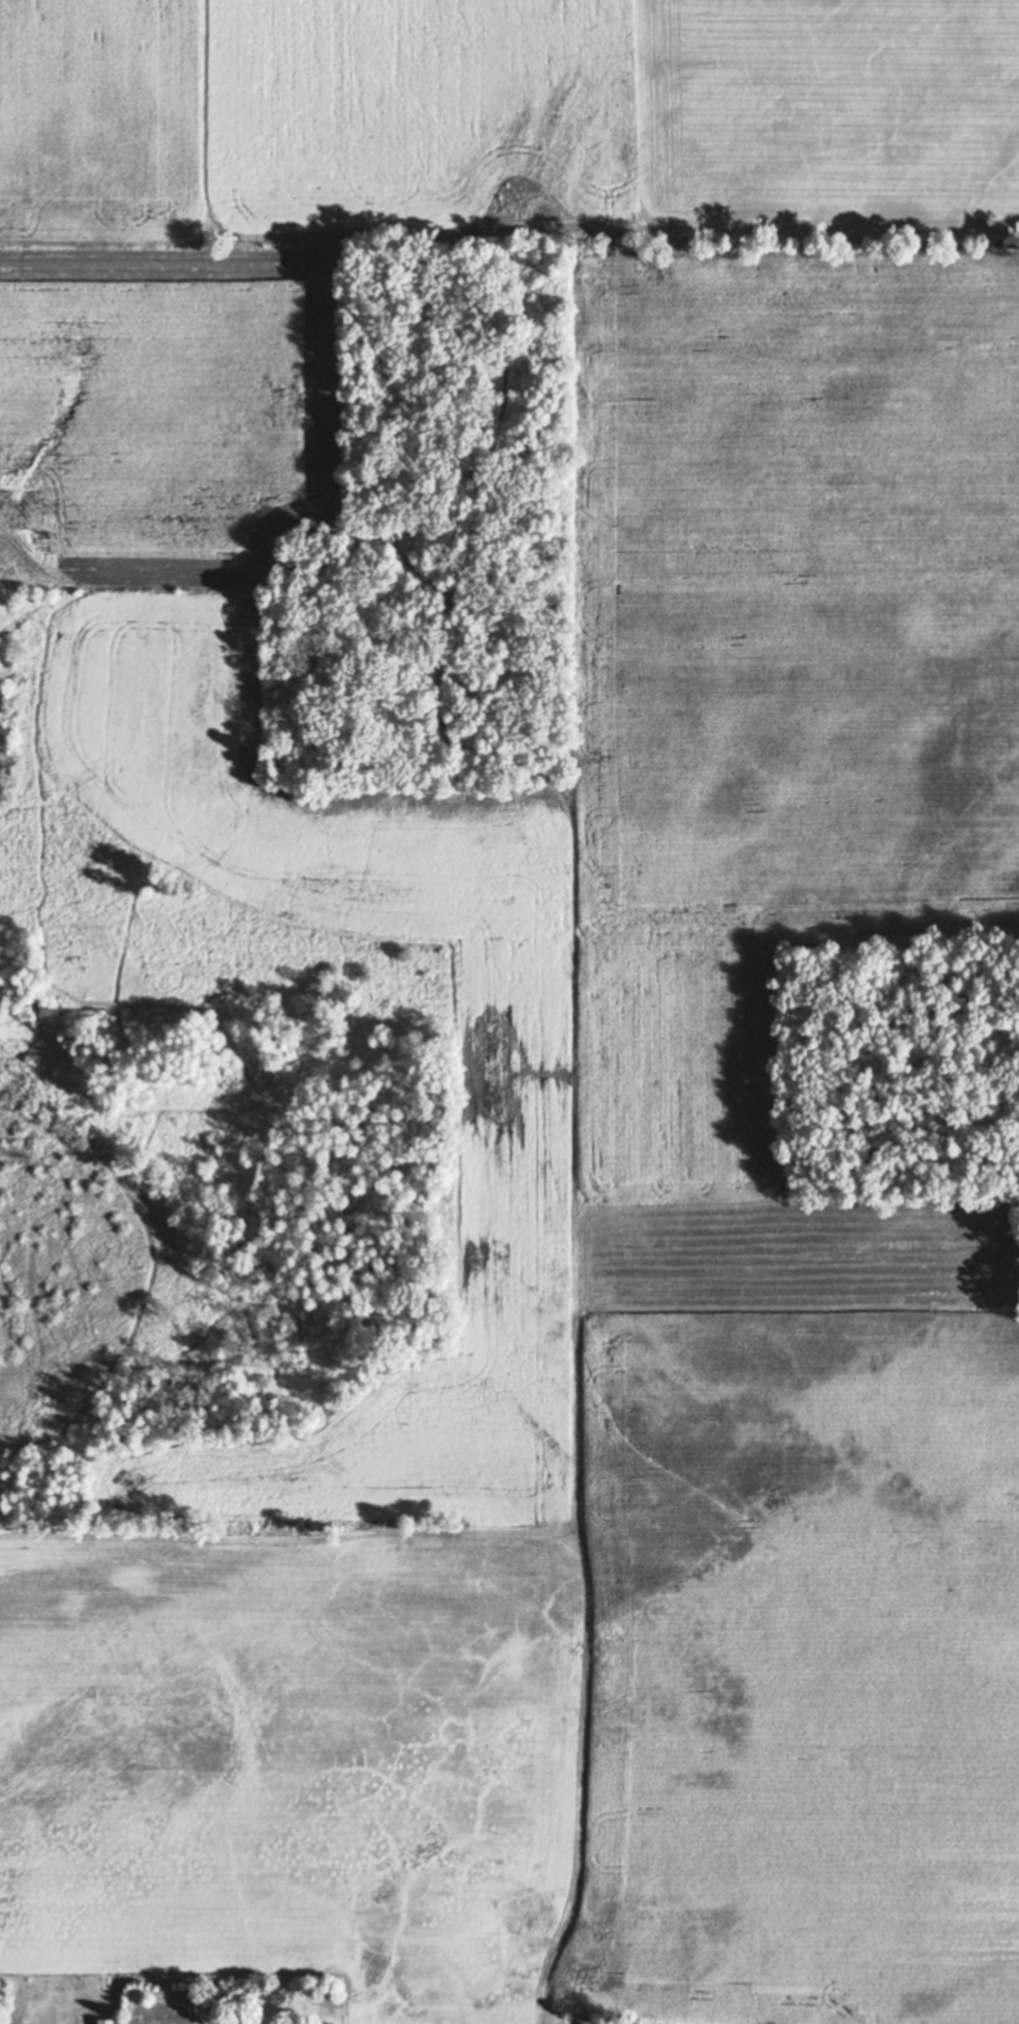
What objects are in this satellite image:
building: (59, 1119)
building: (611, 1986)
building: (108, 2021)

